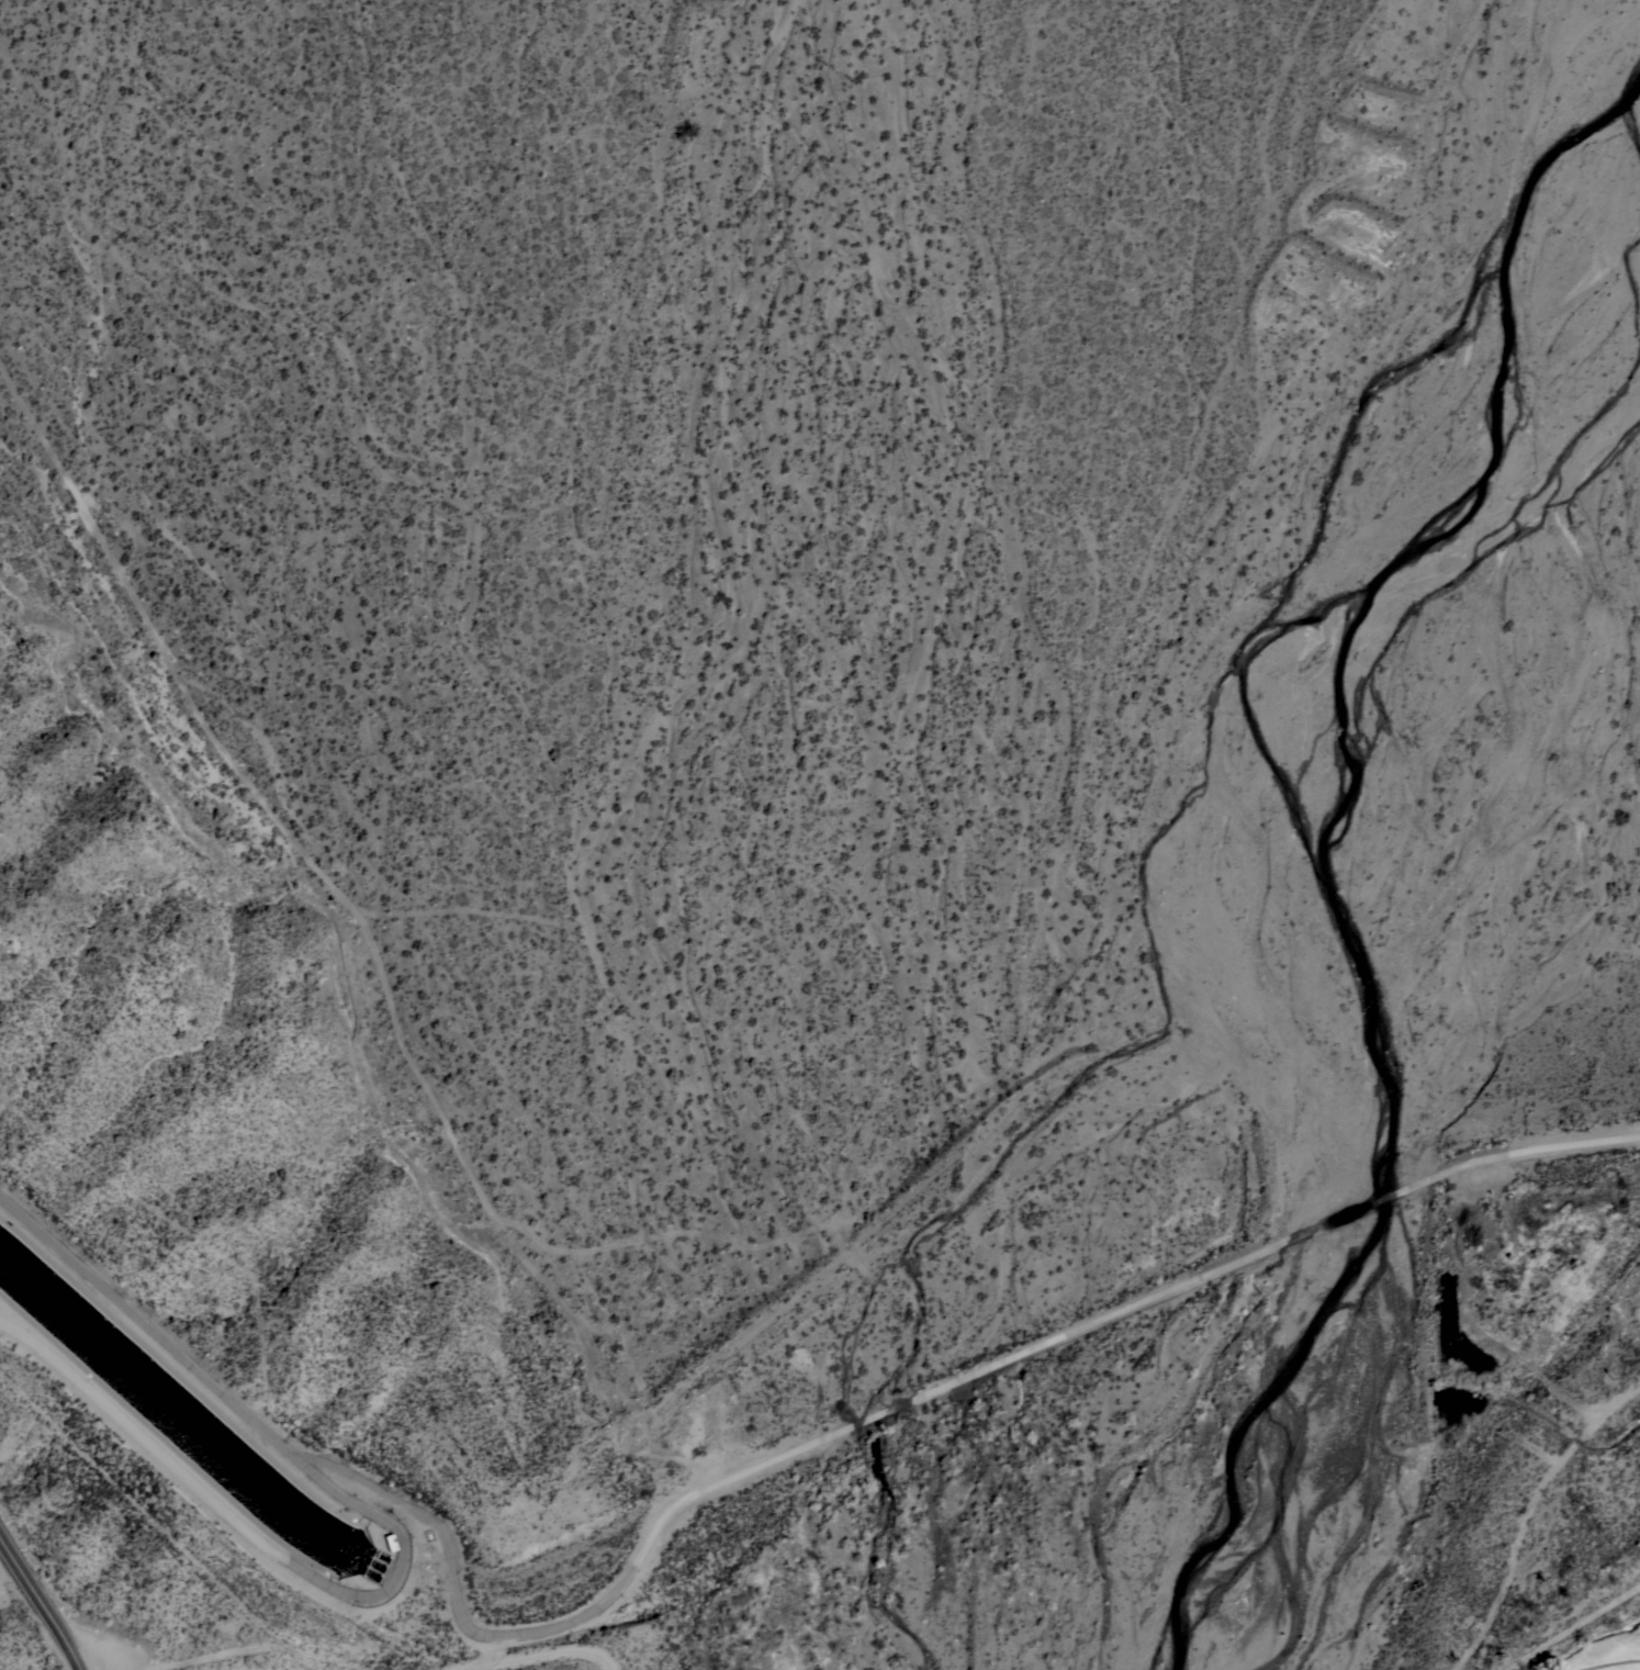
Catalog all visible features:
park: (1588, 1577)
road: (43, 1600)

